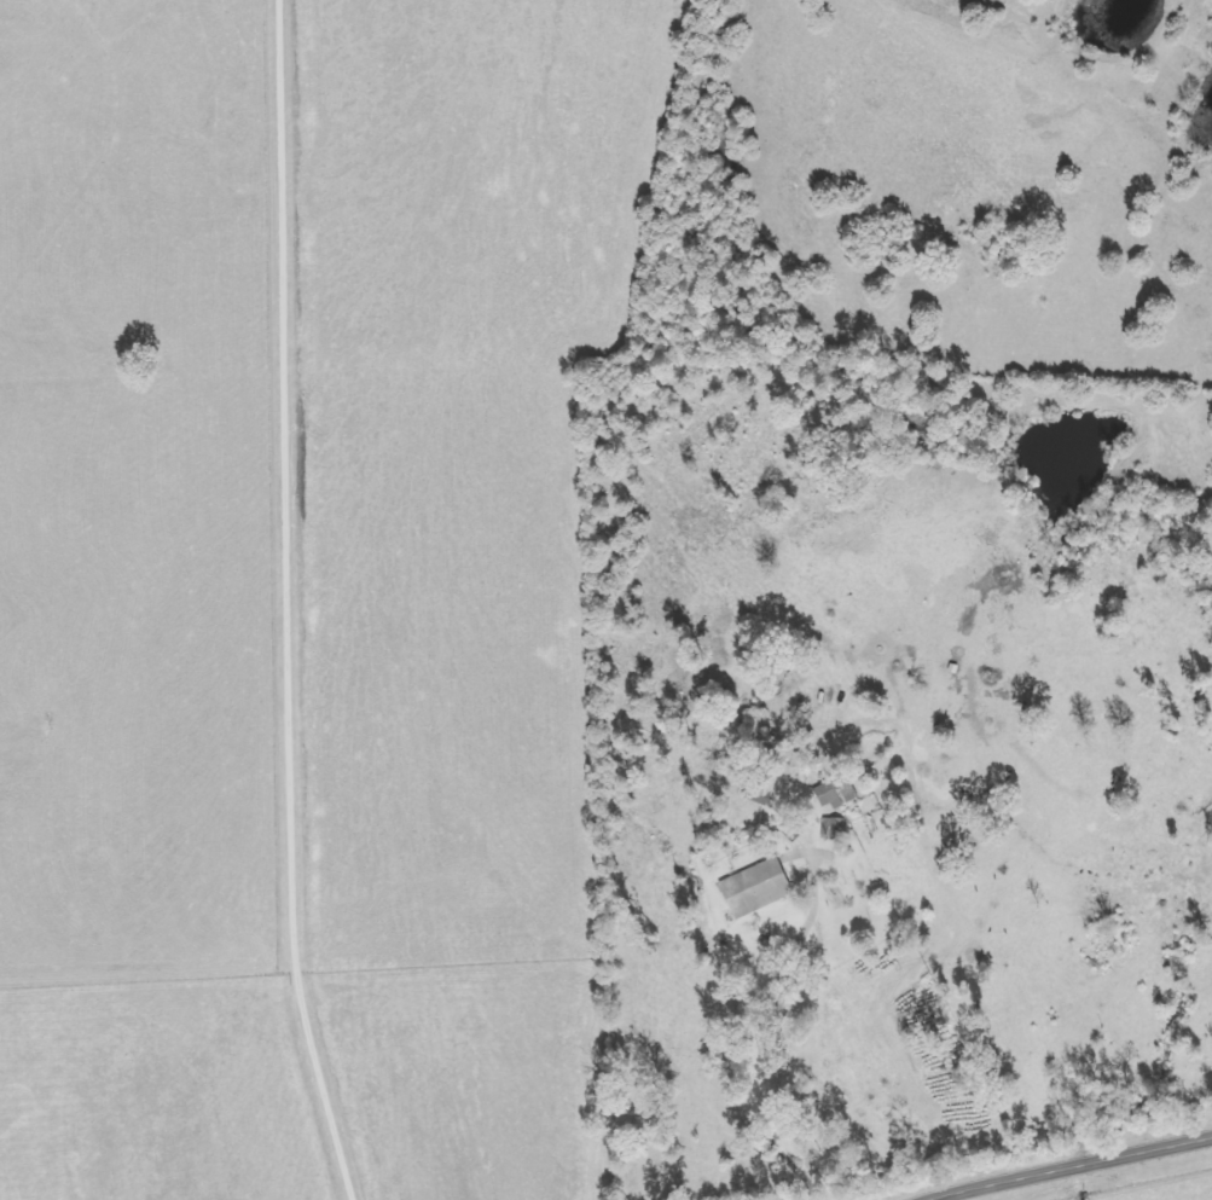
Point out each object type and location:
building: (754, 723)
building: (833, 792)
building: (828, 828)
building: (756, 885)
building: (893, 1032)
road: (1073, 1166)

